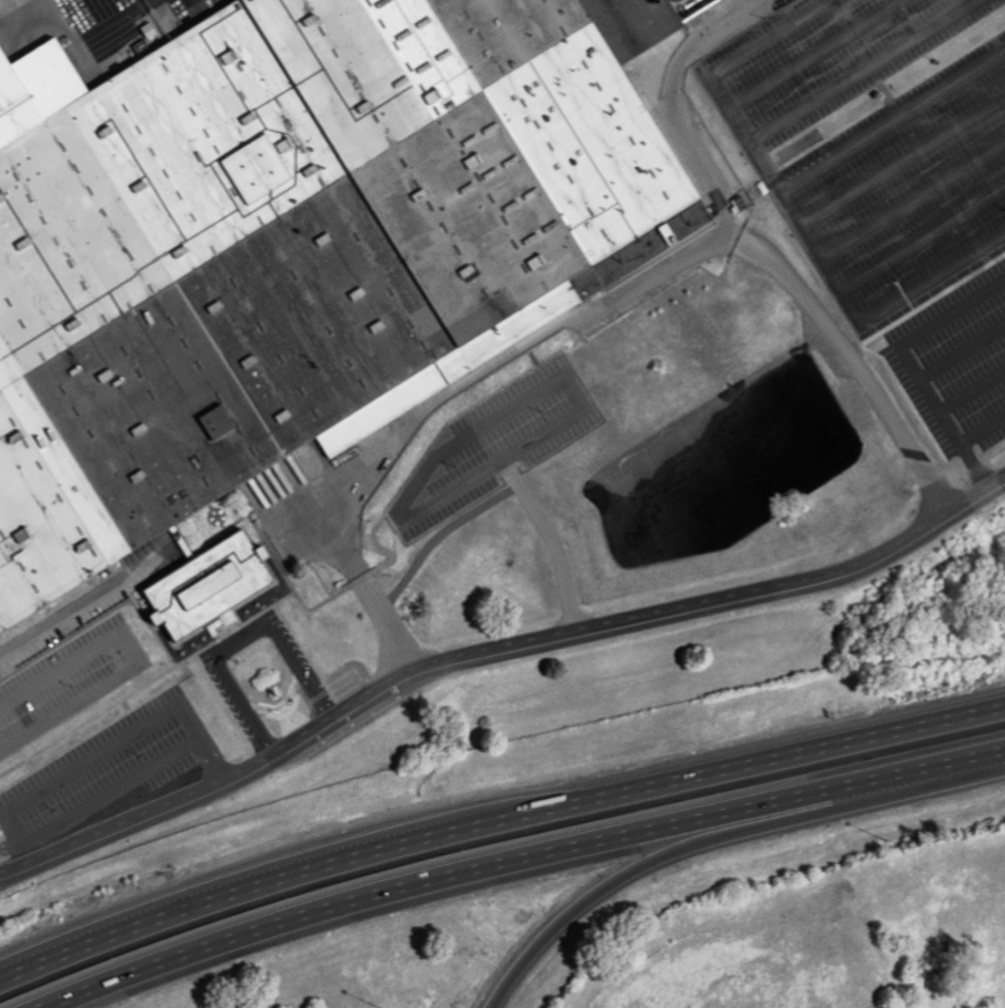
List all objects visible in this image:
road: (813, 53)
road: (769, 129)
road: (912, 140)
parking lot: (877, 141)
road: (902, 161)
road: (765, 166)
road: (913, 198)
road: (795, 216)
road: (923, 238)
building: (291, 250)
road: (623, 289)
road: (481, 428)
road: (475, 508)
road: (82, 606)
road: (241, 642)
road: (493, 654)
road: (24, 799)
road: (495, 813)
road: (354, 843)
road: (707, 844)
road: (537, 866)

